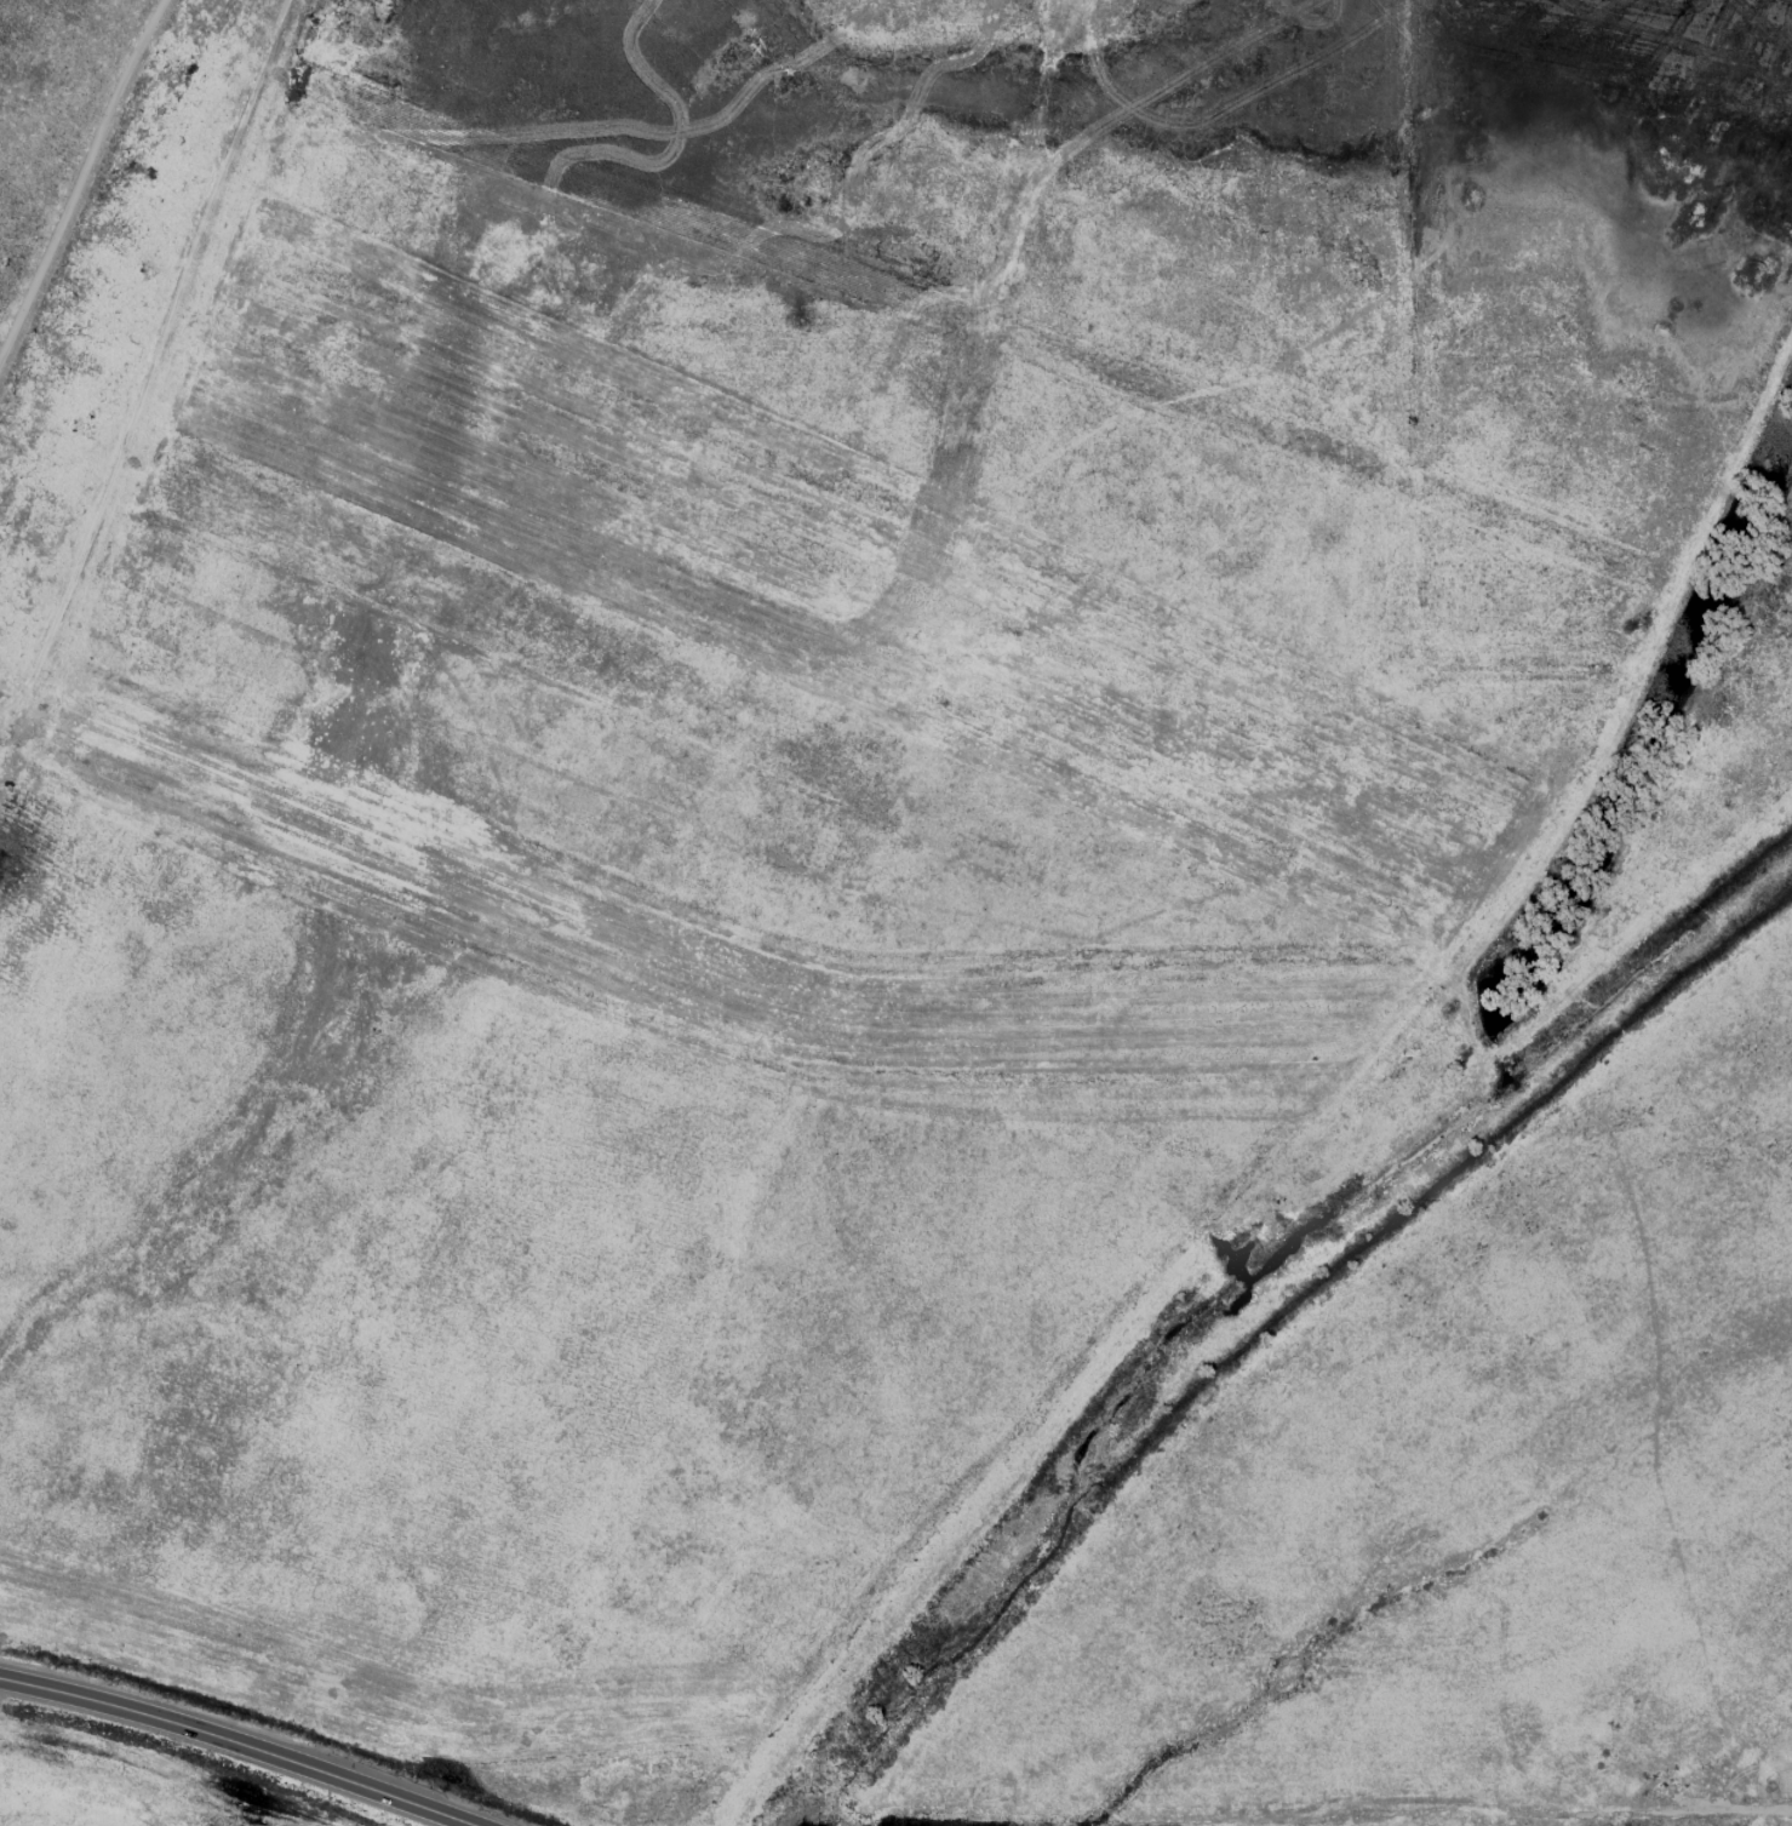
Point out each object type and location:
river: (1270, 1311)
road: (241, 1745)

